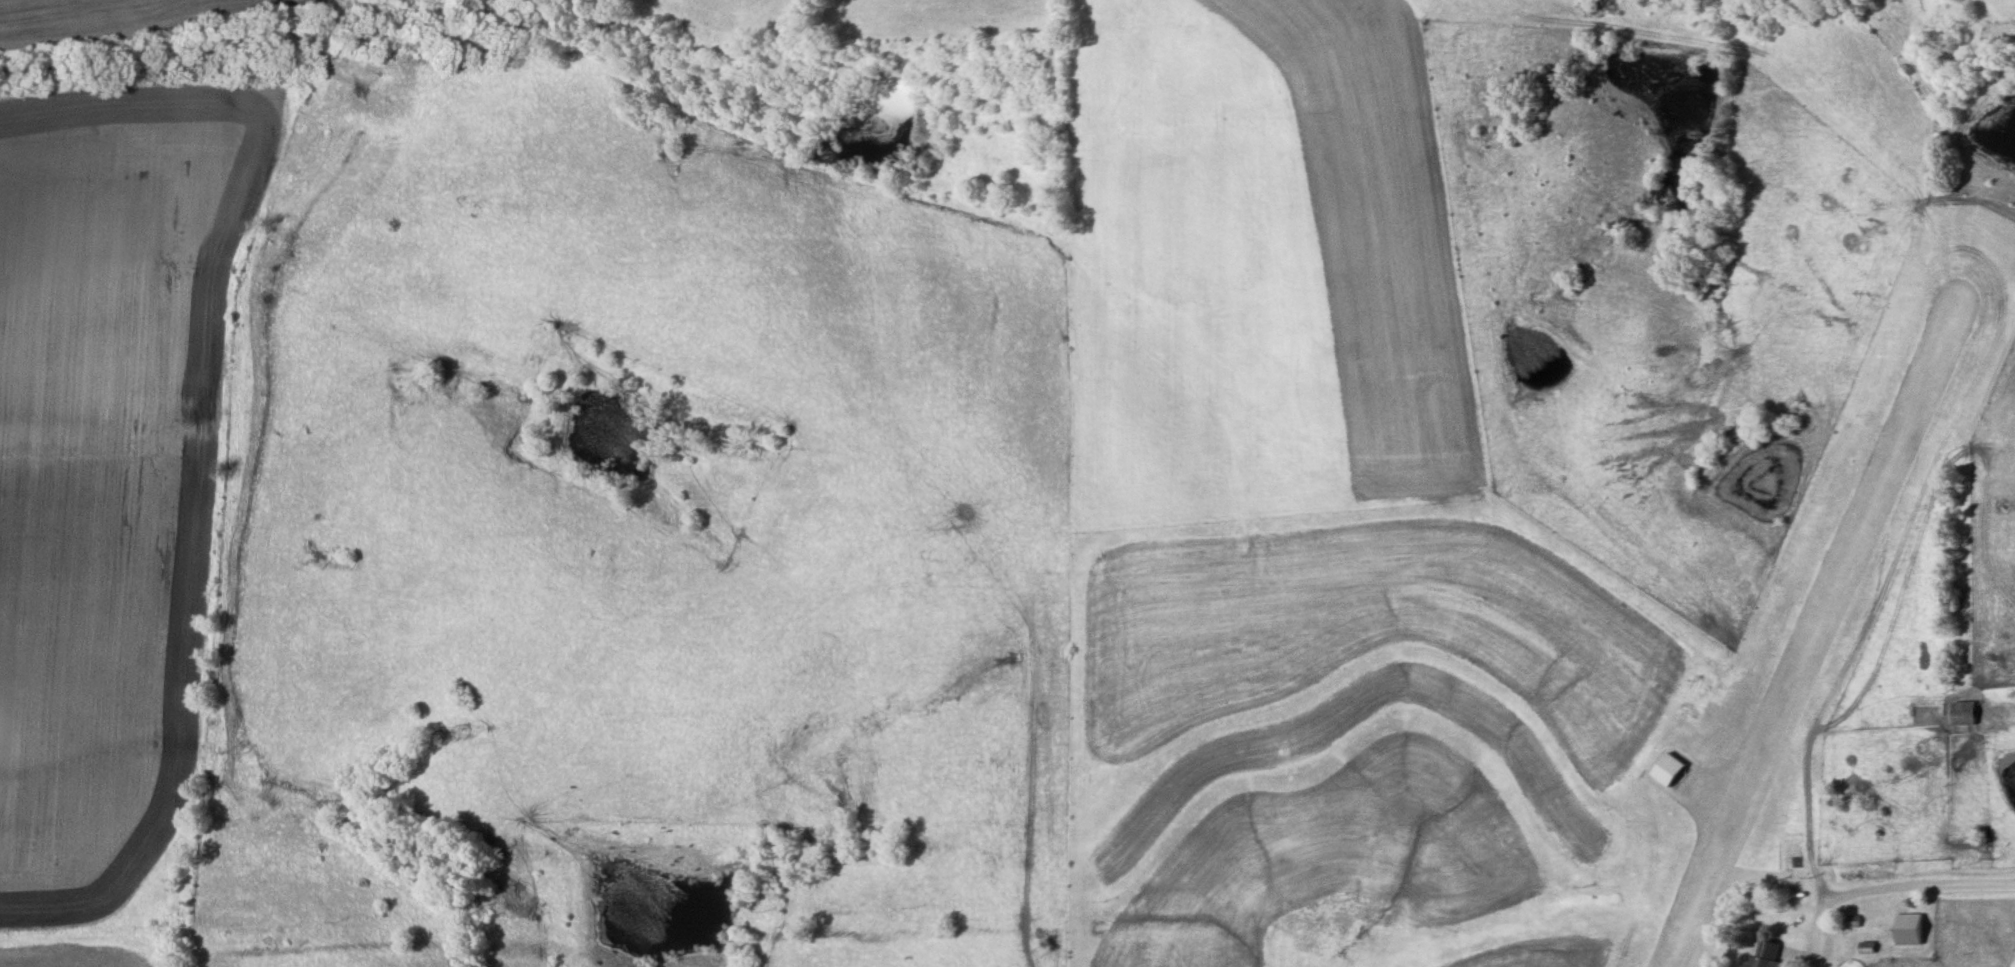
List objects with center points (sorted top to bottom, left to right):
building: (1959, 712)
building: (1672, 767)
road: (1946, 883)
building: (1904, 928)
building: (1759, 955)

